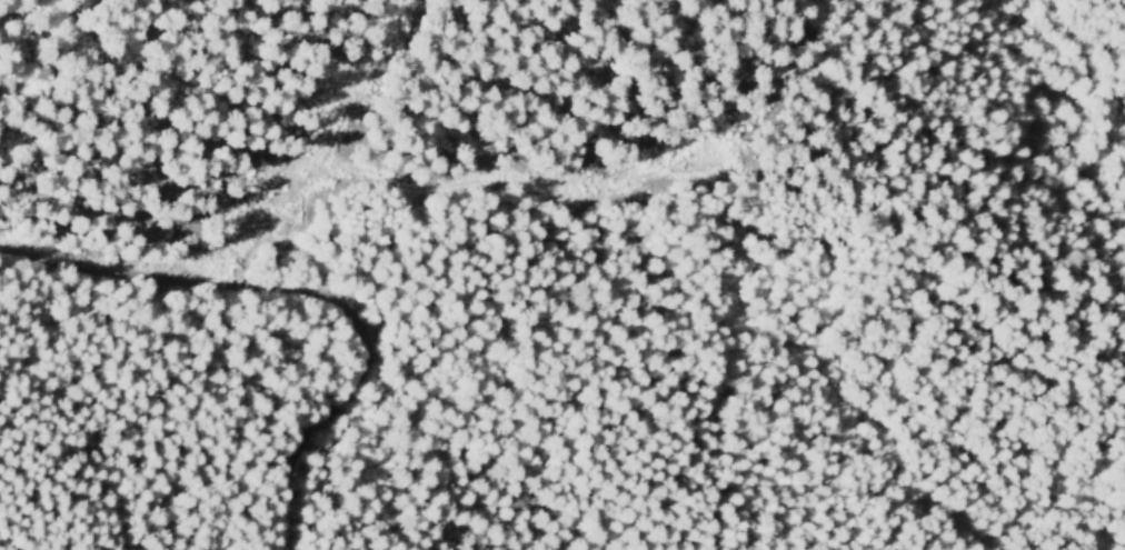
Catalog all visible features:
road: (248, 333)

